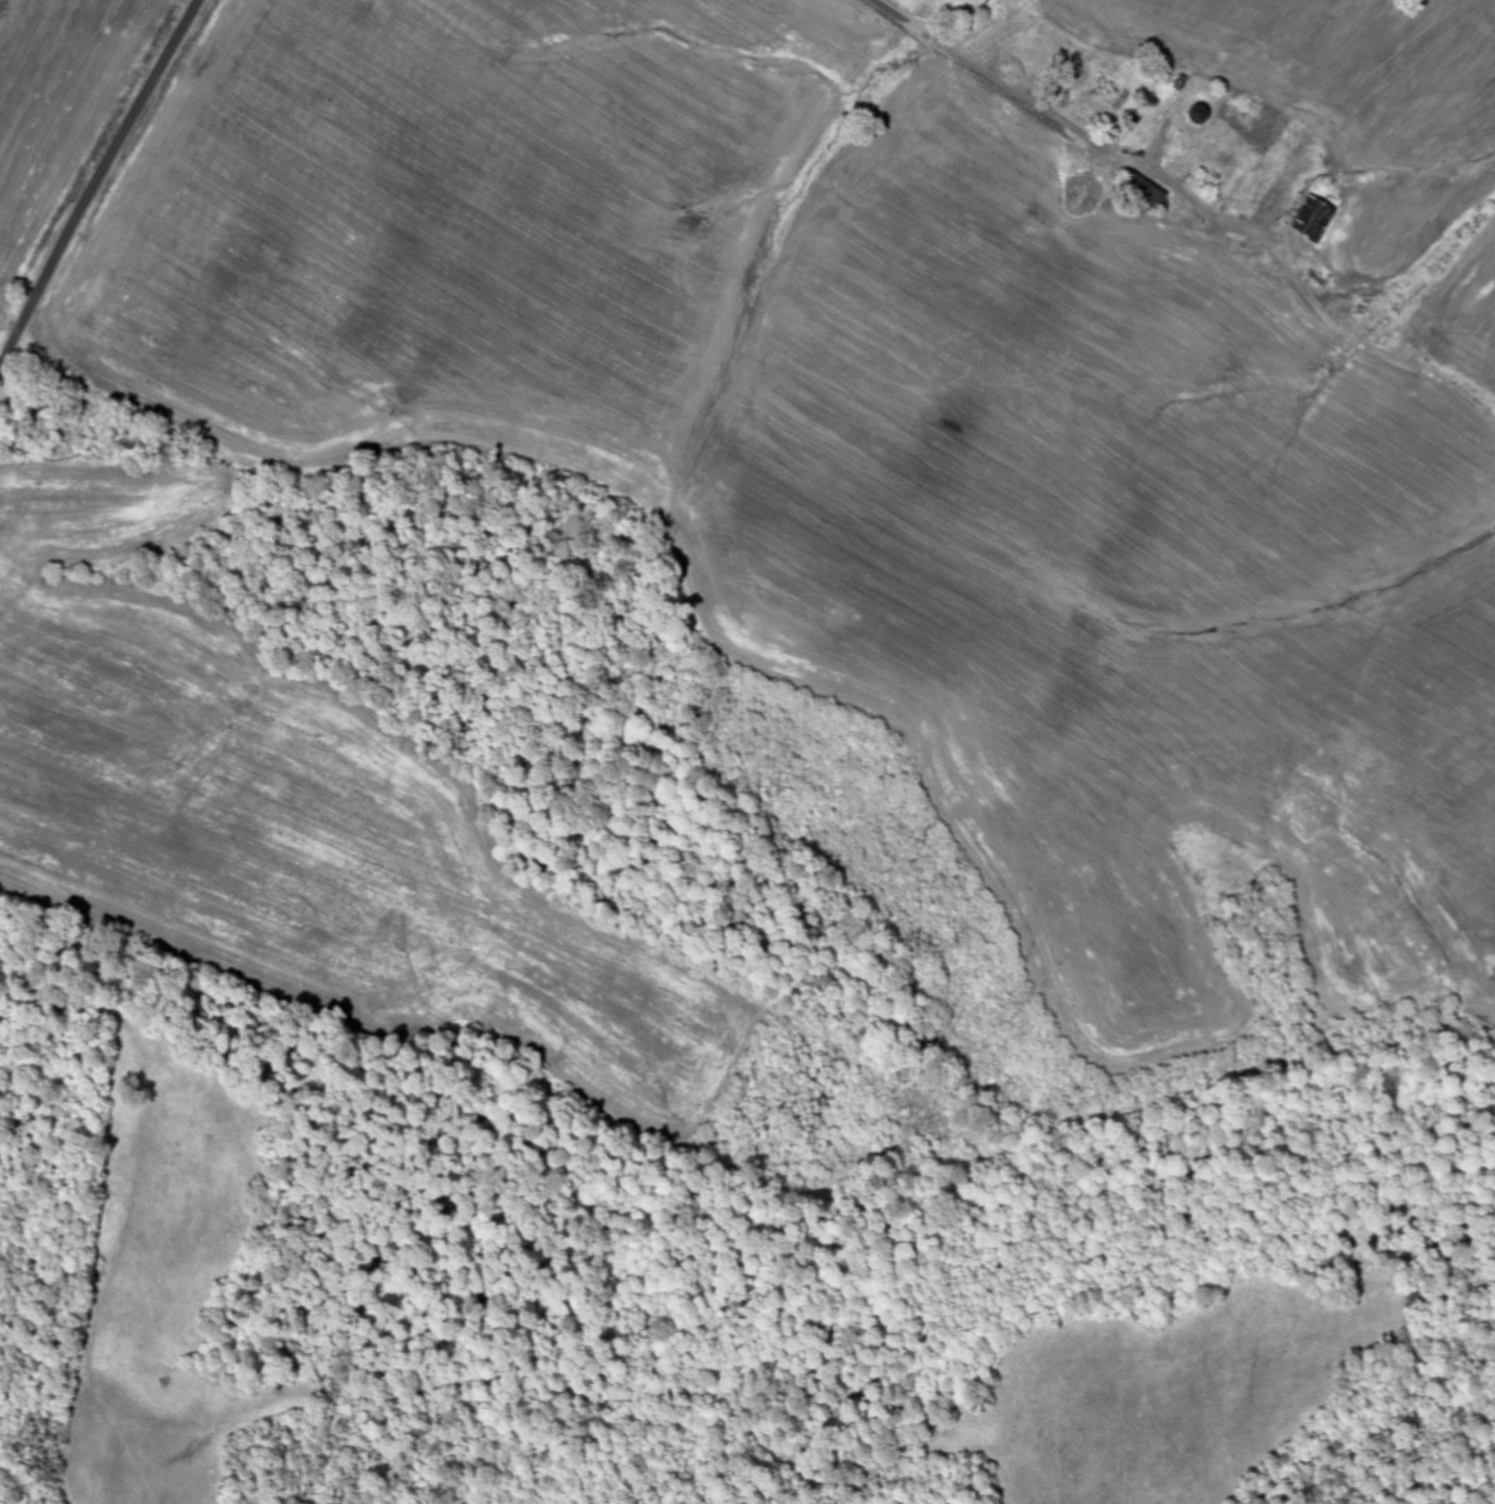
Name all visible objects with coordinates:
road: (990, 75)
road: (95, 182)
building: (1310, 222)

